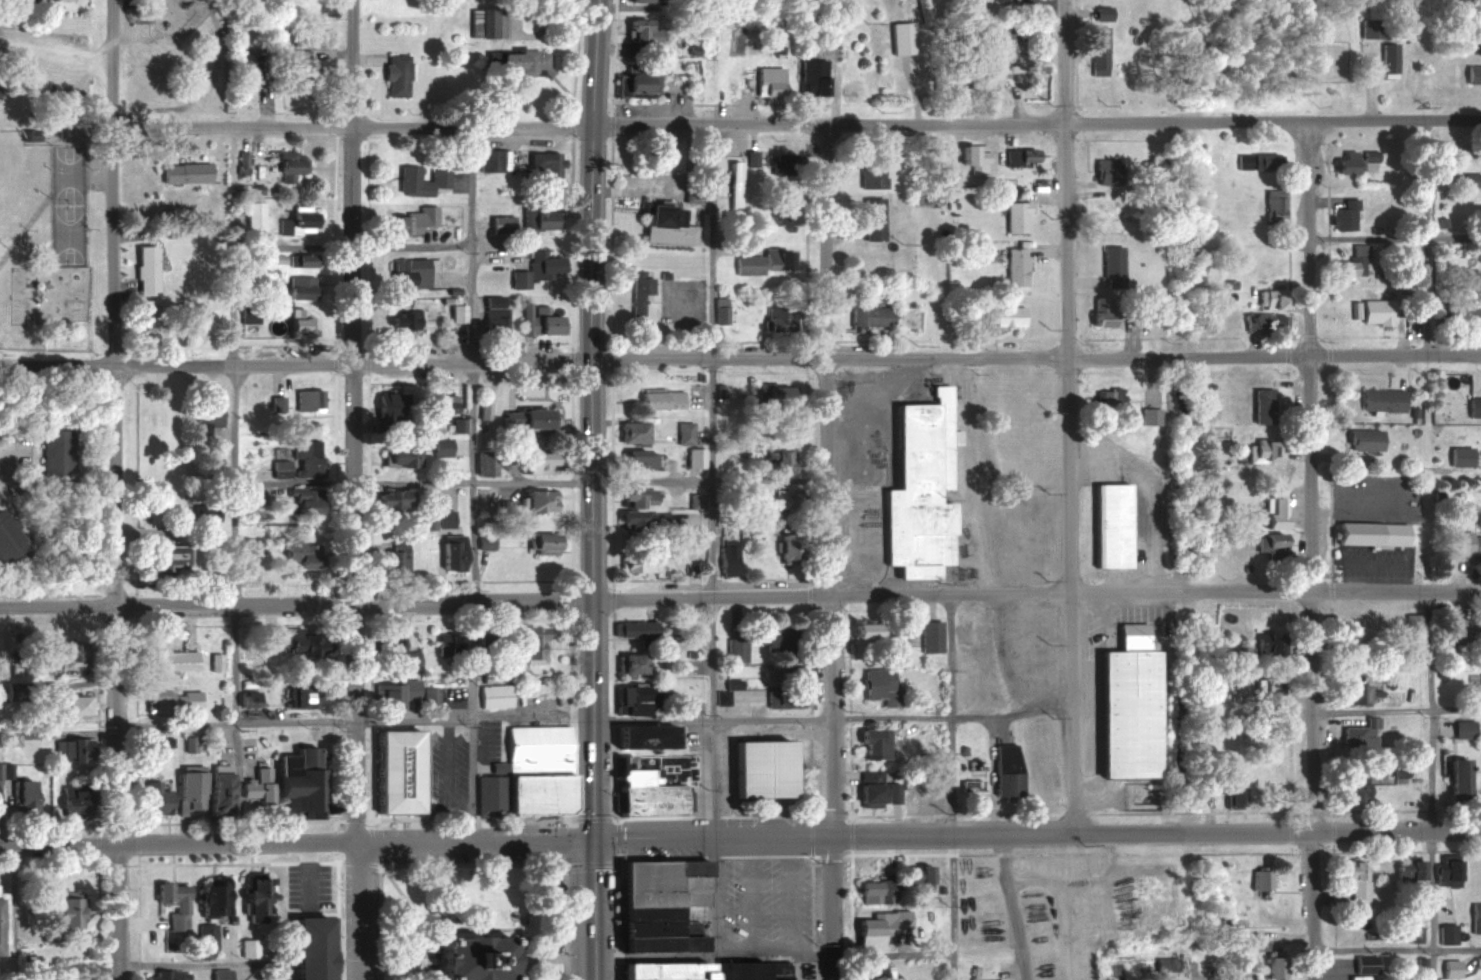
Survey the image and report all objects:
building: (1003, 0)
building: (1100, 13)
building: (639, 29)
building: (1000, 45)
building: (1097, 50)
building: (1387, 59)
building: (519, 62)
building: (298, 66)
building: (244, 67)
building: (1471, 73)
building: (394, 76)
building: (636, 76)
building: (809, 76)
building: (980, 80)
building: (767, 81)
building: (0, 88)
road: (1035, 124)
road: (353, 127)
building: (31, 136)
building: (968, 152)
building: (1014, 155)
building: (748, 156)
building: (489, 159)
building: (545, 160)
building: (1258, 160)
building: (1343, 161)
building: (287, 164)
building: (1106, 169)
building: (182, 172)
building: (869, 172)
building: (1467, 179)
building: (418, 180)
building: (729, 182)
park: (52, 187)
road: (630, 189)
road: (1050, 193)
building: (1155, 201)
park: (67, 205)
building: (1271, 205)
building: (1103, 207)
building: (1343, 215)
building: (251, 216)
building: (1014, 216)
building: (292, 218)
building: (406, 219)
building: (532, 219)
building: (870, 219)
building: (497, 223)
building: (658, 223)
road: (1428, 238)
road: (1393, 239)
road: (710, 240)
road: (471, 242)
road: (725, 245)
road: (1051, 249)
road: (493, 254)
building: (274, 257)
building: (300, 259)
building: (759, 260)
building: (1351, 263)
building: (1013, 264)
building: (1109, 265)
building: (533, 268)
building: (143, 270)
building: (407, 271)
building: (659, 273)
road: (457, 277)
road: (1080, 279)
building: (296, 284)
building: (634, 289)
building: (1269, 297)
road: (590, 299)
parking lot: (678, 300)
building: (538, 307)
building: (1099, 307)
building: (456, 308)
building: (717, 309)
building: (1374, 311)
building: (867, 312)
building: (490, 313)
building: (1001, 313)
building: (779, 315)
building: (401, 318)
building: (296, 321)
building: (536, 321)
building: (1263, 321)
road: (177, 342)
road: (1133, 342)
road: (1035, 357)
road: (295, 363)
building: (771, 393)
building: (655, 398)
building: (1106, 398)
building: (1379, 399)
building: (303, 402)
building: (275, 403)
building: (382, 404)
building: (437, 404)
building: (1261, 406)
building: (1472, 406)
building: (206, 415)
building: (1148, 415)
road: (1070, 416)
building: (524, 417)
building: (456, 425)
road: (233, 431)
building: (629, 431)
building: (681, 432)
building: (1360, 439)
building: (438, 446)
building: (1258, 451)
building: (53, 452)
building: (396, 455)
building: (692, 457)
building: (301, 458)
building: (636, 459)
building: (533, 461)
building: (776, 461)
road: (855, 464)
road: (5, 472)
road: (708, 476)
road: (471, 479)
road: (469, 480)
road: (114, 489)
building: (919, 489)
road: (352, 490)
road: (1144, 495)
parking lot: (1372, 495)
building: (634, 496)
building: (386, 499)
building: (536, 499)
building: (300, 500)
building: (694, 501)
building: (205, 512)
building: (1270, 512)
building: (433, 517)
building: (643, 520)
building: (1110, 525)
building: (1367, 530)
building: (7, 539)
building: (1266, 542)
building: (541, 543)
building: (1461, 543)
building: (783, 545)
building: (247, 547)
building: (447, 551)
road: (1308, 551)
road: (828, 552)
building: (297, 553)
building: (157, 556)
building: (392, 557)
building: (727, 558)
building: (1369, 560)
building: (635, 561)
road: (1036, 595)
road: (296, 602)
building: (1456, 622)
building: (1410, 624)
building: (1480, 625)
building: (630, 627)
building: (858, 630)
building: (929, 635)
building: (1351, 635)
building: (770, 636)
building: (292, 640)
building: (1265, 641)
building: (528, 644)
parking lot: (1028, 648)
building: (443, 649)
building: (734, 649)
building: (60, 652)
building: (391, 652)
building: (667, 657)
building: (165, 659)
building: (626, 665)
road: (713, 668)
building: (786, 672)
building: (1467, 680)
building: (1478, 680)
building: (870, 681)
building: (1268, 684)
building: (490, 690)
building: (390, 692)
building: (1352, 692)
building: (301, 696)
building: (780, 698)
building: (170, 699)
building: (246, 699)
building: (632, 699)
building: (64, 706)
building: (1126, 707)
road: (1396, 708)
road: (471, 718)
road: (833, 719)
building: (1369, 719)
road: (471, 720)
road: (234, 723)
building: (1461, 726)
building: (635, 734)
building: (1352, 735)
parking lot: (488, 740)
building: (188, 744)
building: (873, 744)
building: (68, 749)
parking lot: (446, 766)
building: (389, 769)
building: (3, 771)
building: (523, 771)
building: (757, 771)
building: (1380, 771)
building: (1003, 772)
building: (1454, 776)
building: (284, 783)
road: (1430, 785)
building: (215, 787)
road: (952, 787)
building: (866, 788)
building: (1227, 789)
building: (1350, 789)
building: (185, 790)
road: (592, 790)
building: (891, 793)
building: (640, 794)
building: (21, 796)
building: (153, 796)
building: (66, 800)
road: (370, 829)
road: (1036, 833)
road: (295, 842)
road: (238, 863)
road: (473, 864)
building: (1411, 868)
building: (1444, 871)
road: (306, 872)
building: (914, 878)
building: (1352, 879)
parking lot: (306, 881)
building: (1259, 881)
building: (868, 891)
building: (248, 896)
road: (427, 896)
building: (204, 898)
parking lot: (768, 899)
building: (652, 900)
building: (170, 903)
road: (1014, 907)
building: (56, 914)
building: (1474, 917)
road: (420, 918)
road: (519, 919)
building: (3, 922)
road: (470, 924)
building: (875, 926)
building: (1445, 933)
building: (1413, 934)
building: (203, 936)
building: (305, 947)
building: (247, 948)
road: (1397, 948)
building: (468, 953)
road: (773, 956)
road: (546, 957)
road: (402, 961)
road: (368, 963)
building: (1163, 963)
road: (191, 965)
building: (1363, 965)
building: (1448, 966)
building: (1270, 967)
building: (655, 970)
building: (738, 970)
building: (869, 972)
building: (218, 974)
building: (164, 975)
building: (33, 977)
parking lot: (264, 977)
road: (1194, 978)

